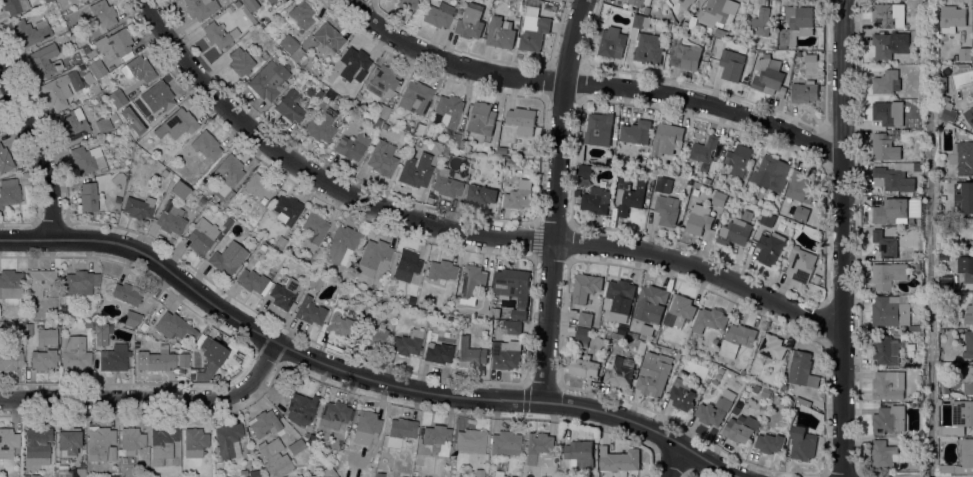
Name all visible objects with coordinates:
building: (46, 0)
building: (270, 1)
building: (283, 1)
road: (354, 1)
building: (638, 2)
building: (700, 2)
building: (685, 3)
building: (251, 4)
building: (14, 5)
building: (406, 5)
building: (200, 8)
building: (229, 8)
building: (459, 11)
building: (717, 12)
building: (103, 13)
building: (301, 14)
building: (435, 16)
building: (887, 16)
building: (952, 19)
building: (516, 20)
building: (469, 22)
building: (917, 22)
building: (758, 23)
building: (796, 25)
building: (972, 25)
building: (30, 31)
building: (259, 33)
building: (533, 33)
building: (500, 34)
building: (720, 34)
building: (216, 35)
building: (327, 38)
building: (115, 42)
building: (645, 42)
building: (79, 43)
building: (288, 43)
building: (612, 43)
building: (889, 45)
building: (772, 46)
building: (85, 49)
building: (297, 54)
building: (799, 54)
building: (964, 55)
building: (689, 57)
building: (811, 58)
building: (44, 60)
building: (241, 61)
building: (355, 61)
building: (732, 63)
building: (81, 67)
building: (97, 67)
building: (963, 67)
building: (138, 69)
building: (943, 69)
building: (768, 76)
building: (269, 79)
building: (382, 81)
road: (591, 83)
building: (886, 83)
building: (942, 85)
building: (95, 88)
building: (61, 89)
building: (804, 92)
building: (319, 94)
building: (1, 95)
building: (99, 95)
building: (330, 95)
building: (415, 97)
building: (117, 98)
building: (350, 98)
building: (159, 99)
building: (355, 102)
building: (290, 106)
building: (347, 106)
building: (382, 110)
building: (945, 110)
building: (447, 111)
building: (889, 114)
building: (969, 116)
building: (482, 119)
building: (130, 120)
building: (521, 120)
building: (377, 122)
building: (73, 123)
building: (179, 123)
building: (940, 123)
building: (103, 124)
building: (322, 125)
building: (384, 126)
building: (599, 129)
building: (635, 132)
building: (452, 139)
building: (667, 139)
building: (462, 144)
road: (39, 145)
building: (206, 145)
building: (437, 145)
building: (352, 147)
building: (884, 148)
building: (502, 150)
building: (580, 152)
building: (703, 152)
building: (382, 158)
building: (962, 158)
building: (87, 159)
building: (5, 160)
building: (508, 160)
building: (739, 160)
building: (202, 168)
building: (416, 170)
building: (584, 171)
building: (164, 172)
building: (771, 174)
building: (227, 178)
building: (895, 178)
building: (118, 179)
building: (706, 182)
building: (446, 184)
building: (259, 187)
building: (800, 188)
building: (179, 189)
building: (9, 192)
building: (480, 195)
building: (518, 196)
building: (628, 196)
building: (88, 197)
building: (963, 197)
building: (117, 199)
road: (557, 199)
building: (718, 199)
building: (915, 199)
building: (595, 200)
building: (201, 201)
building: (138, 207)
building: (913, 208)
building: (286, 209)
building: (666, 211)
building: (890, 211)
building: (801, 214)
building: (767, 219)
building: (171, 220)
building: (699, 220)
building: (228, 222)
building: (314, 226)
road: (459, 232)
building: (734, 233)
building: (202, 234)
road: (842, 238)
building: (281, 240)
building: (342, 245)
building: (885, 245)
building: (770, 247)
building: (260, 250)
building: (227, 258)
building: (313, 258)
building: (373, 258)
building: (252, 261)
building: (406, 265)
building: (800, 265)
building: (319, 267)
building: (917, 268)
building: (441, 270)
building: (969, 271)
building: (888, 275)
building: (816, 280)
building: (40, 281)
building: (253, 281)
building: (471, 281)
building: (81, 282)
building: (315, 282)
building: (947, 283)
building: (11, 284)
building: (585, 288)
building: (54, 289)
building: (513, 289)
building: (284, 292)
building: (127, 293)
building: (620, 299)
building: (914, 299)
building: (651, 304)
building: (393, 307)
building: (62, 308)
building: (681, 310)
building: (310, 311)
building: (889, 312)
building: (493, 313)
building: (969, 314)
building: (131, 318)
building: (585, 319)
building: (710, 320)
building: (87, 323)
building: (341, 325)
building: (174, 326)
building: (510, 328)
building: (102, 329)
building: (913, 329)
building: (622, 330)
building: (647, 330)
building: (633, 335)
building: (374, 336)
building: (582, 337)
building: (618, 338)
building: (736, 340)
building: (715, 341)
building: (407, 343)
building: (968, 345)
building: (772, 347)
building: (911, 347)
building: (136, 352)
building: (438, 352)
building: (885, 352)
building: (74, 353)
building: (469, 354)
building: (506, 355)
building: (679, 356)
building: (43, 357)
building: (209, 357)
building: (114, 358)
building: (160, 360)
building: (183, 360)
building: (10, 361)
building: (583, 367)
building: (802, 370)
building: (721, 371)
building: (621, 372)
road: (361, 374)
building: (191, 376)
building: (718, 376)
building: (653, 379)
building: (968, 380)
building: (715, 382)
building: (888, 385)
building: (944, 391)
building: (766, 393)
building: (682, 394)
road: (152, 397)
building: (777, 398)
building: (802, 401)
building: (789, 403)
building: (716, 409)
building: (302, 410)
building: (333, 414)
building: (958, 419)
building: (889, 420)
building: (264, 424)
building: (366, 426)
building: (400, 431)
building: (738, 433)
building: (920, 434)
building: (131, 440)
building: (228, 440)
building: (434, 440)
building: (194, 441)
building: (471, 441)
building: (8, 442)
building: (68, 443)
building: (100, 443)
building: (162, 443)
building: (505, 443)
building: (770, 444)
building: (803, 444)
building: (37, 446)
building: (537, 446)
building: (296, 447)
building: (580, 454)
building: (883, 454)
building: (274, 458)
building: (961, 460)
road: (677, 461)
building: (615, 462)
building: (310, 468)
building: (446, 471)
building: (70, 472)
building: (242, 472)
building: (253, 473)
building: (324, 473)
building: (379, 474)
building: (403, 475)
building: (26, 476)

